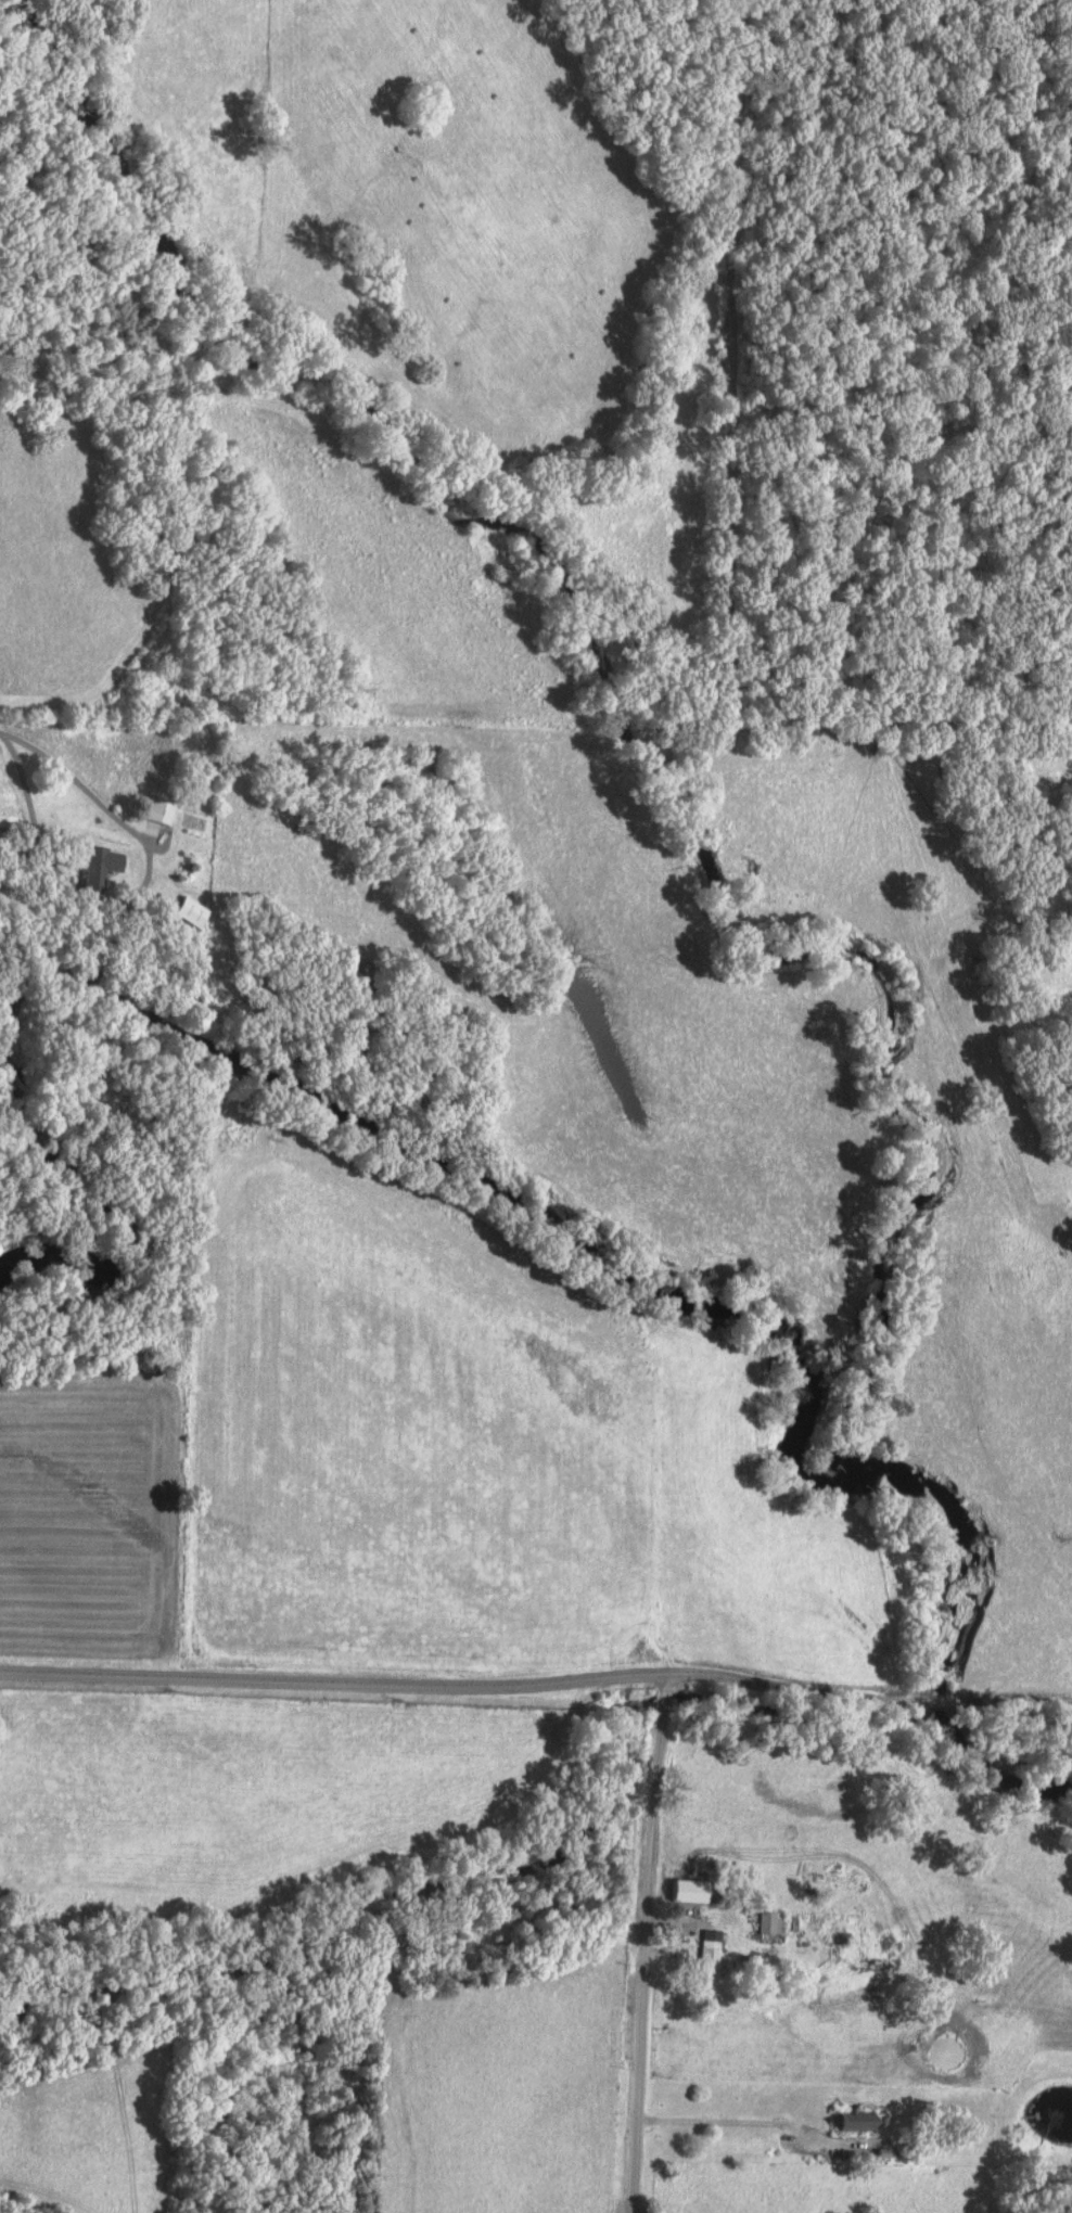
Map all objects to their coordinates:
road: (77, 790)
building: (156, 809)
building: (8, 819)
building: (95, 862)
road: (536, 1686)
building: (771, 1921)
building: (834, 1935)
road: (647, 1945)
building: (711, 1953)
building: (860, 2120)
road: (737, 2122)

